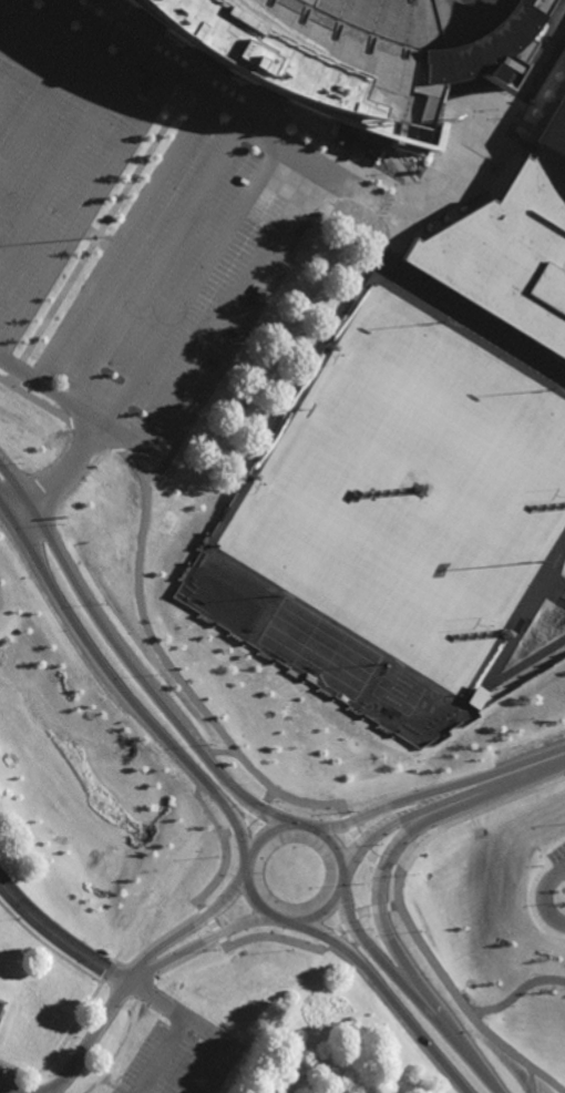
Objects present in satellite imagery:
road: (9, 14)
building: (387, 49)
stadium: (387, 49)
road: (32, 57)
road: (198, 88)
road: (52, 111)
building: (554, 130)
road: (476, 160)
road: (70, 161)
road: (88, 213)
parking lot: (132, 225)
road: (404, 233)
road: (120, 237)
building: (508, 253)
road: (160, 262)
road: (194, 283)
road: (227, 304)
road: (460, 328)
road: (245, 333)
road: (70, 402)
park: (452, 423)
road: (70, 468)
road: (11, 504)
park: (378, 555)
road: (557, 578)
road: (556, 588)
road: (552, 594)
road: (141, 602)
road: (531, 612)
road: (528, 660)
road: (127, 668)
road: (120, 697)
building: (479, 697)
road: (223, 757)
road: (534, 768)
road: (493, 783)
road: (202, 799)
road: (392, 804)
road: (399, 820)
road: (364, 846)
parking lot: (557, 860)
road: (386, 865)
road: (540, 897)
road: (201, 906)
road: (361, 913)
road: (285, 920)
road: (50, 928)
road: (189, 930)
road: (156, 941)
road: (201, 942)
road: (193, 968)
road: (117, 977)
road: (138, 977)
road: (384, 992)
road: (414, 992)
road: (517, 994)
road: (456, 997)
building: (2, 1007)
road: (175, 1011)
park: (258, 1024)
road: (90, 1040)
road: (65, 1042)
road: (161, 1055)
parking lot: (179, 1058)
road: (205, 1066)
road: (533, 1080)
road: (93, 1086)
road: (9, 1089)

